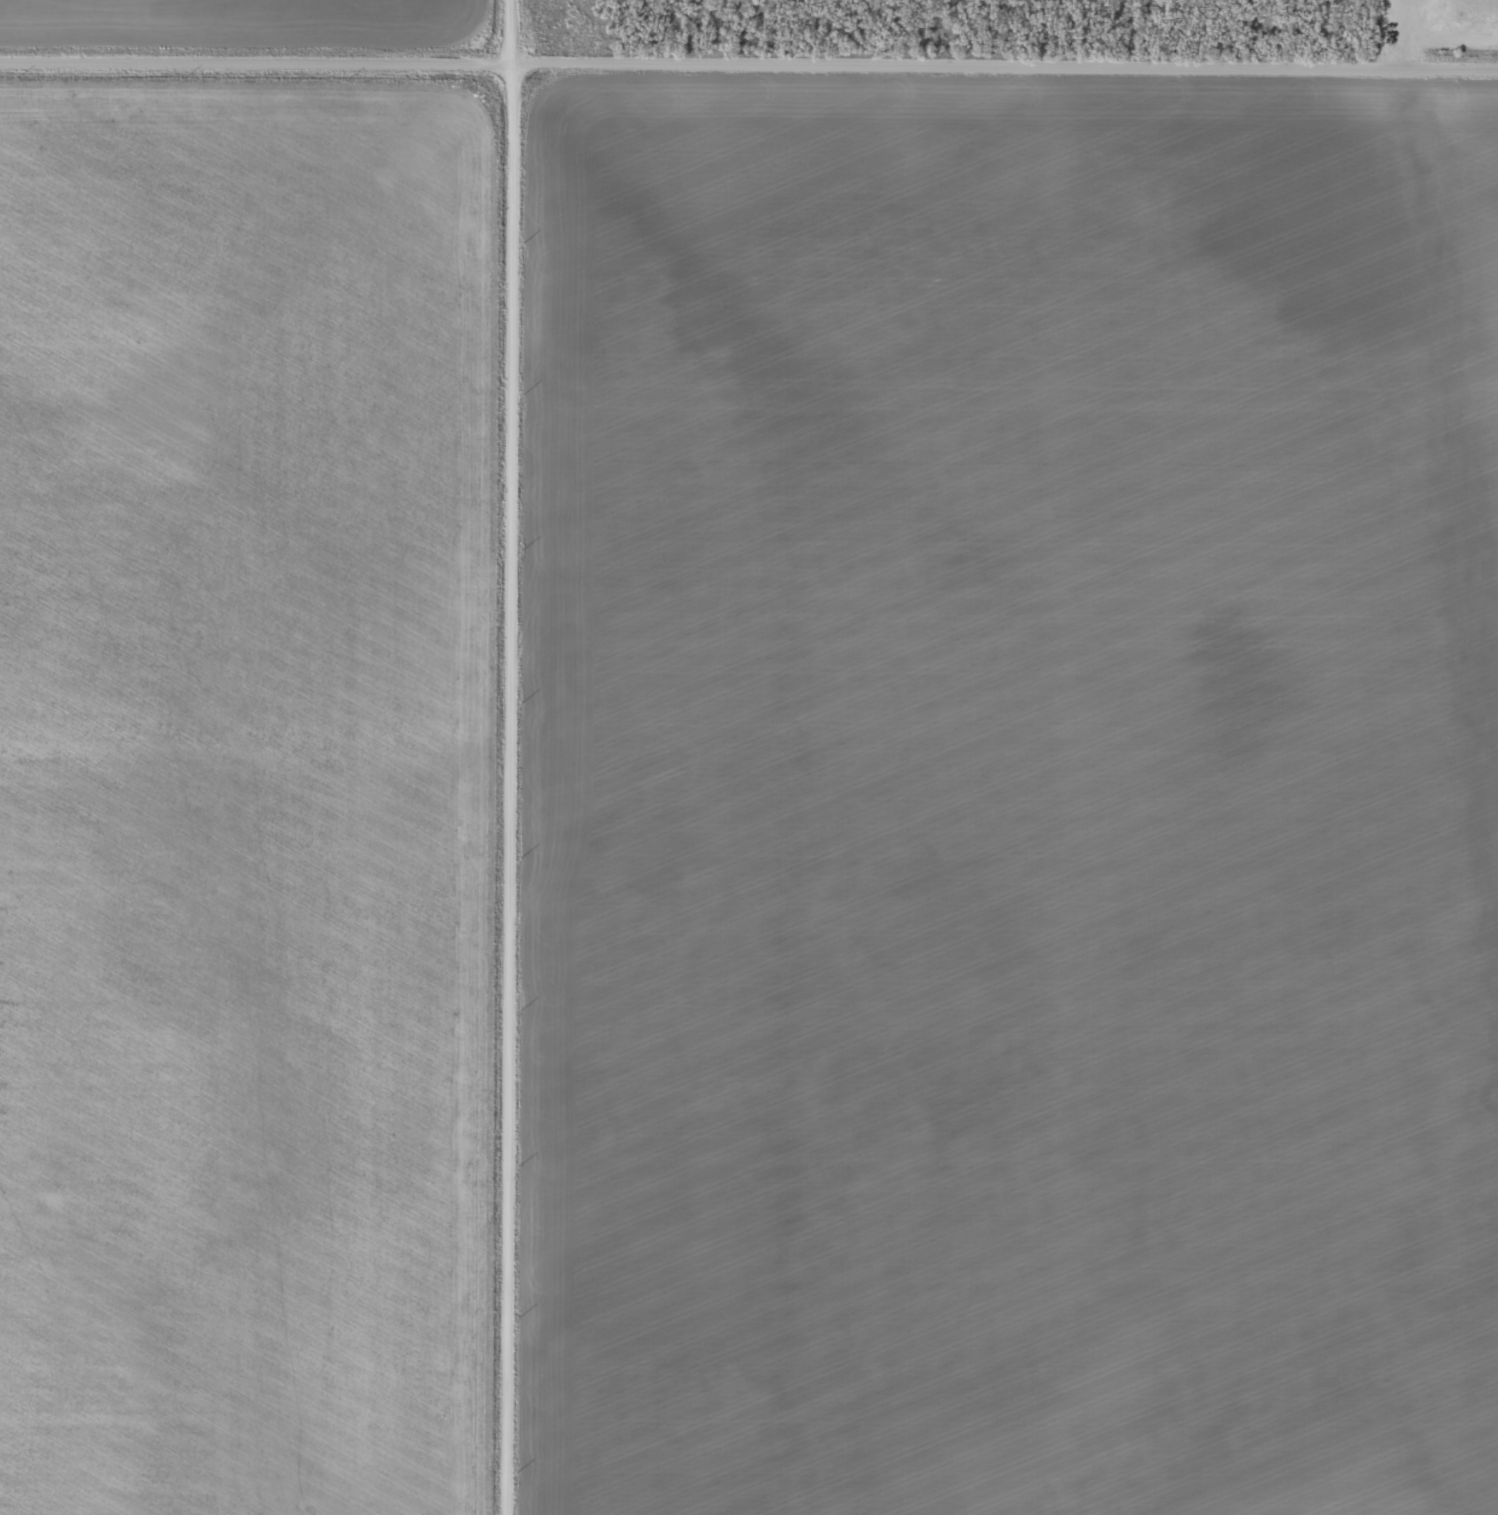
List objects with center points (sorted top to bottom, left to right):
road: (749, 82)
road: (486, 757)

